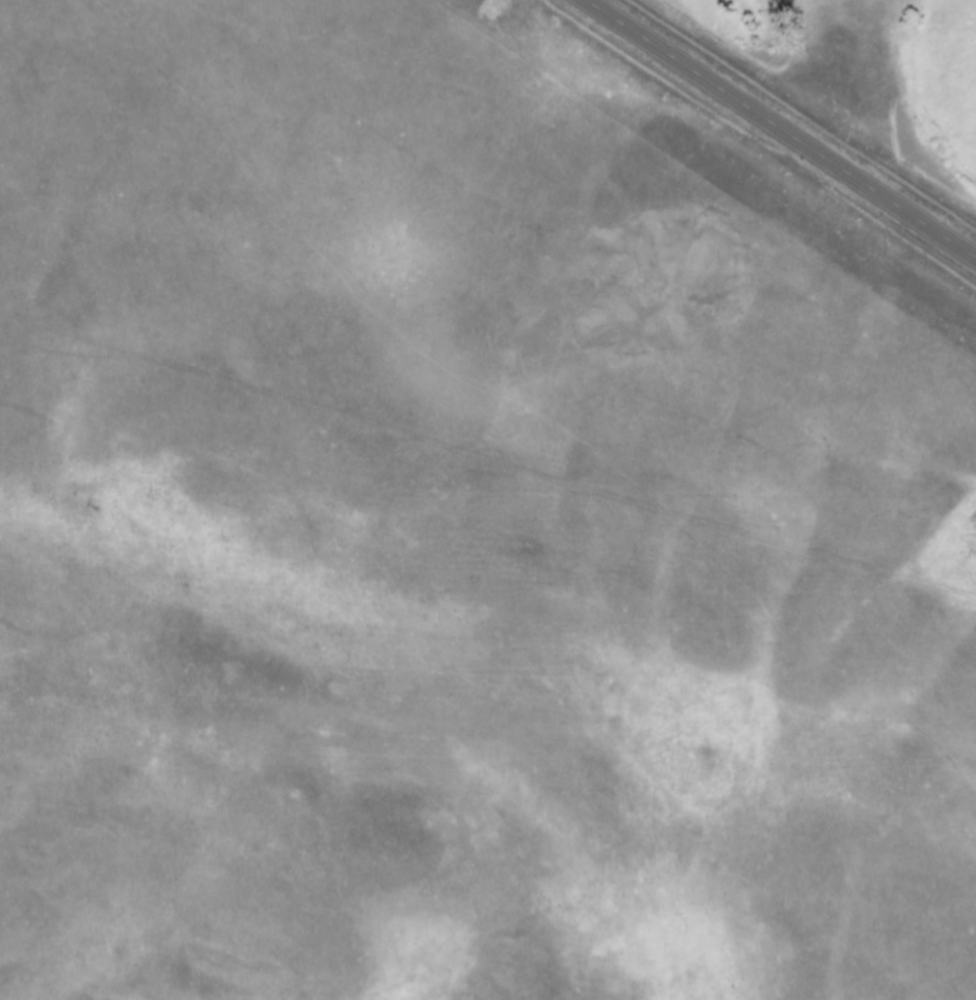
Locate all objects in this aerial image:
road: (786, 125)

